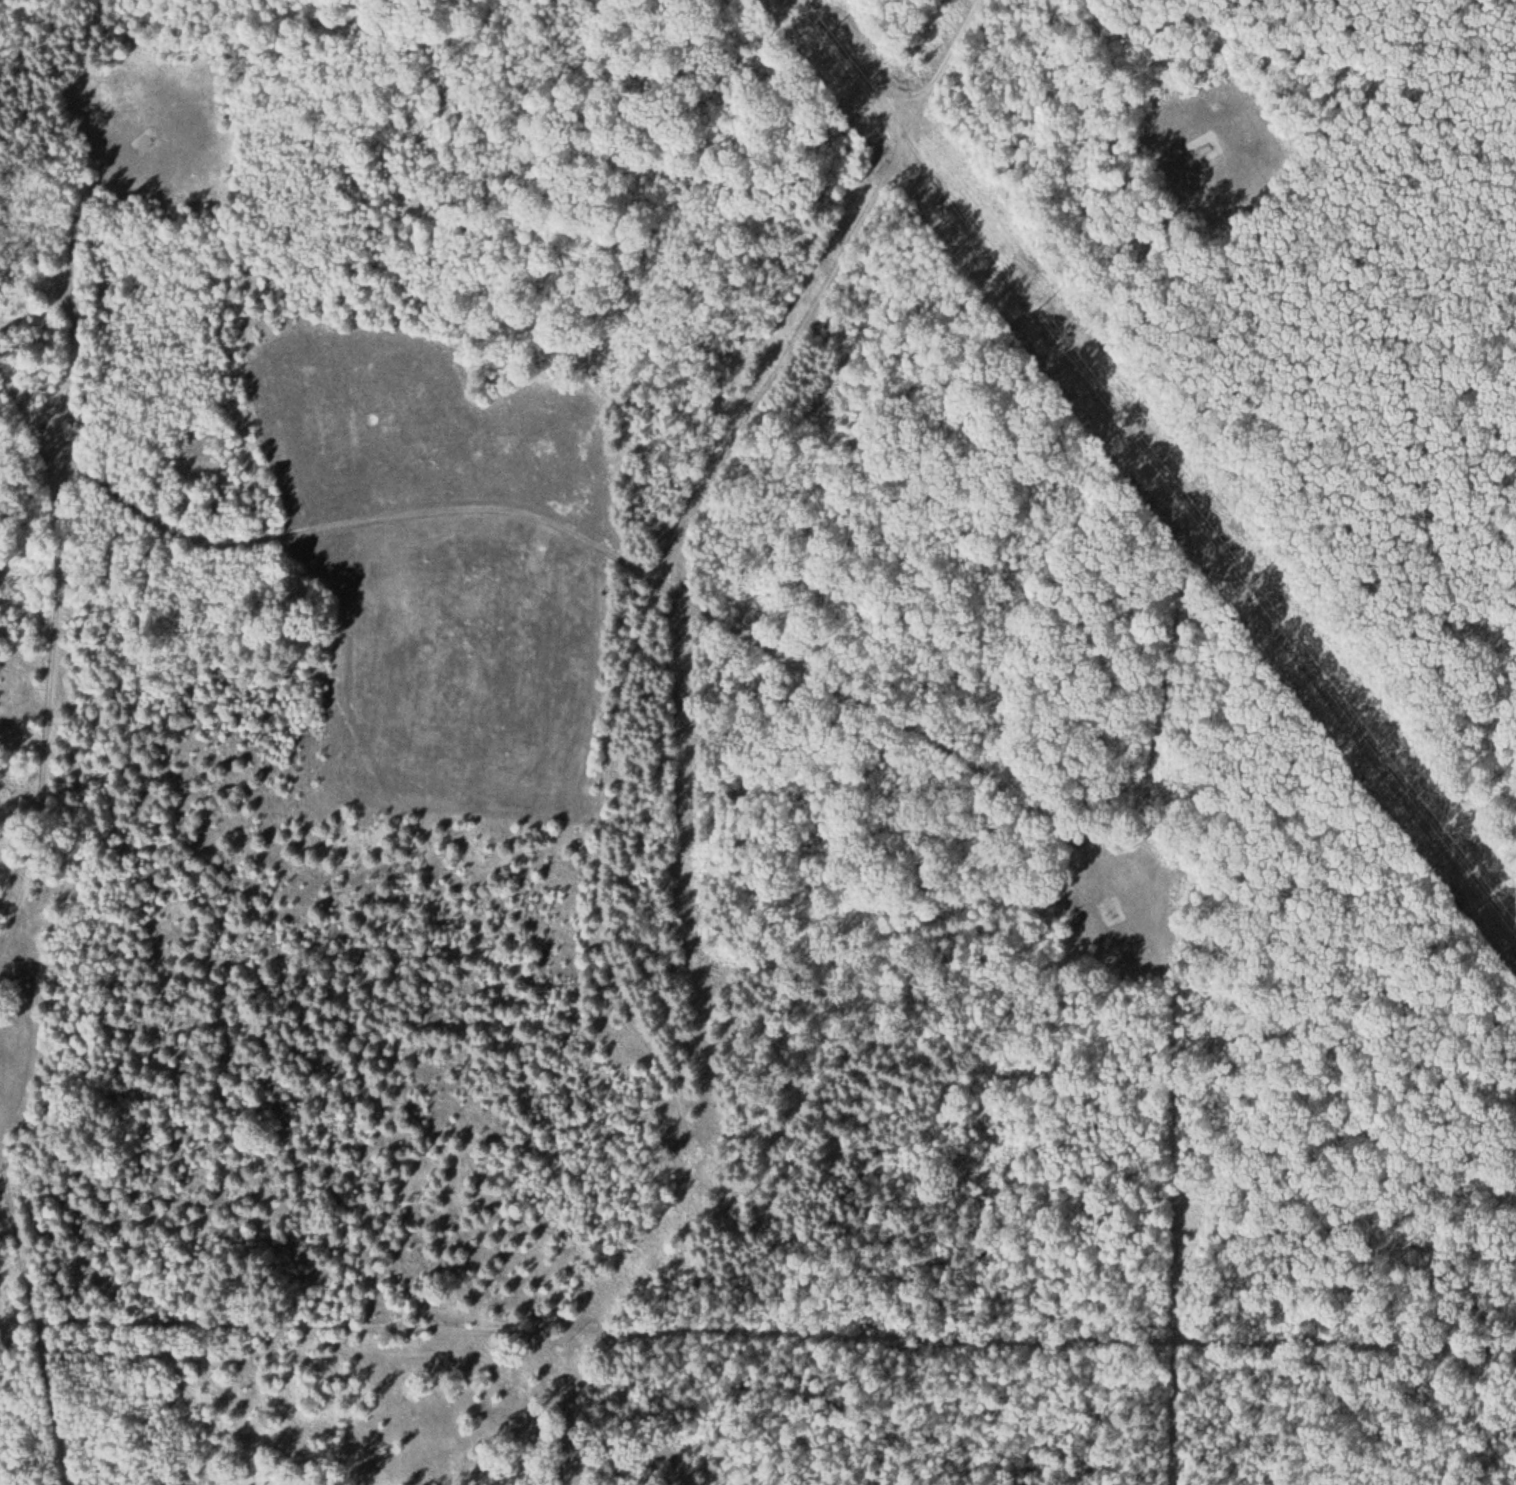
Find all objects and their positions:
road: (853, 53)
road: (925, 53)
road: (292, 522)
road: (1202, 522)
road: (851, 699)
road: (48, 714)
road: (1171, 994)
road: (31, 1320)

